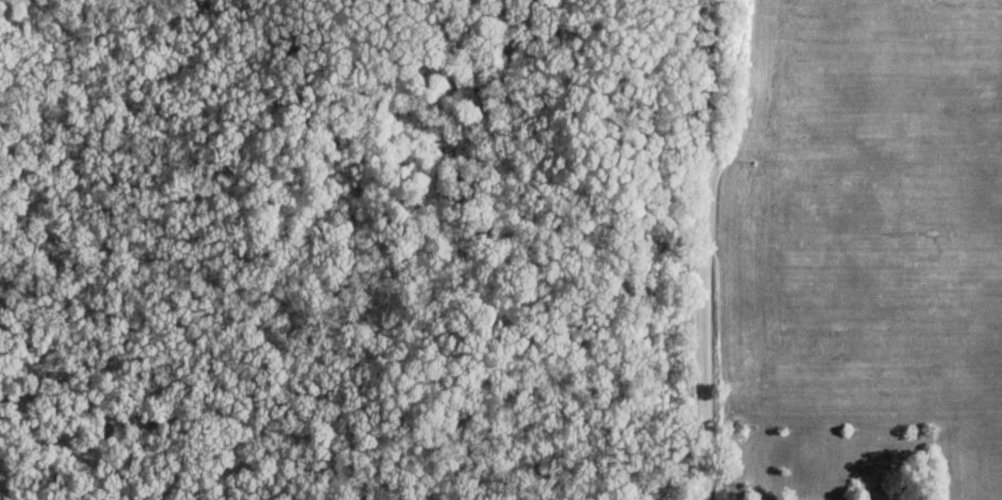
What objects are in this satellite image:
road: (690, 250)

